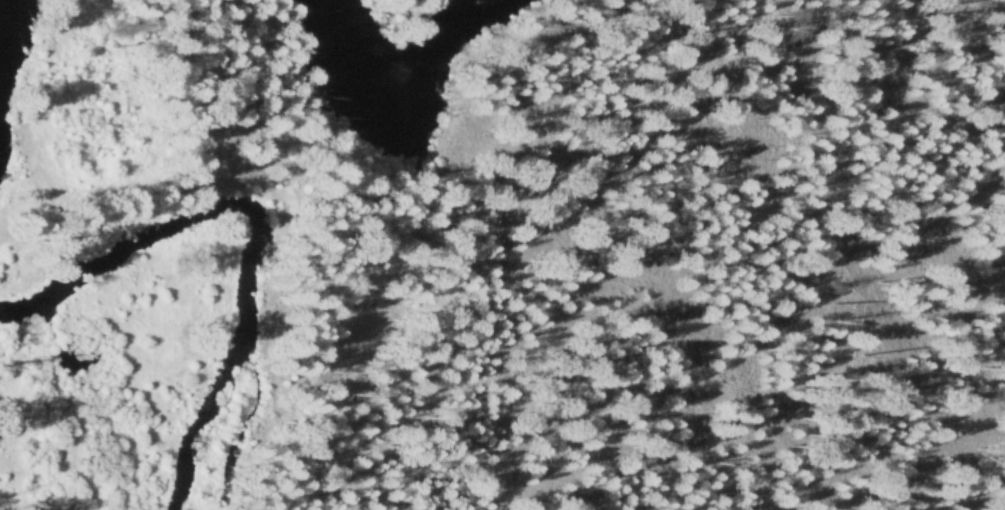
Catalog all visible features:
river: (382, 101)

